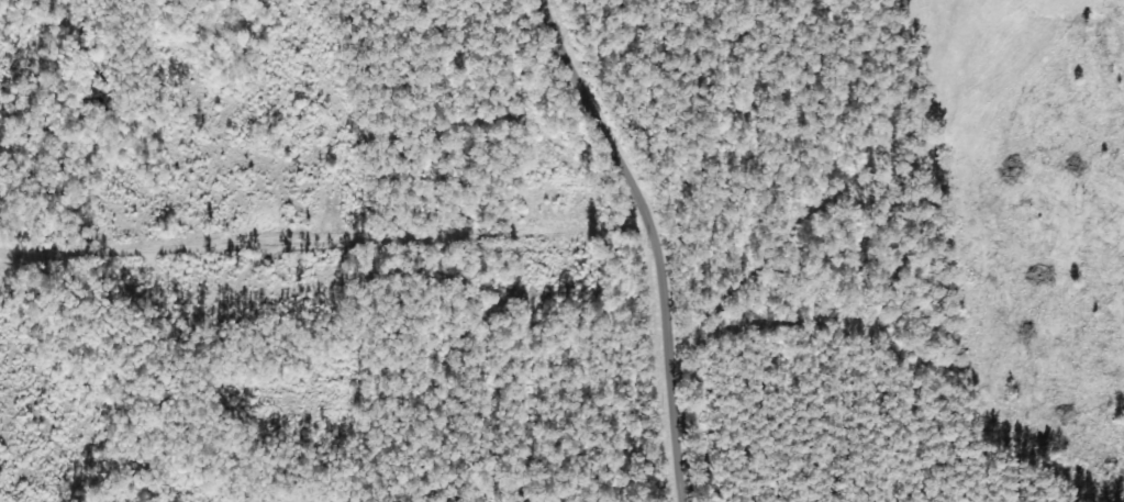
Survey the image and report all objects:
road: (627, 243)
road: (314, 256)

